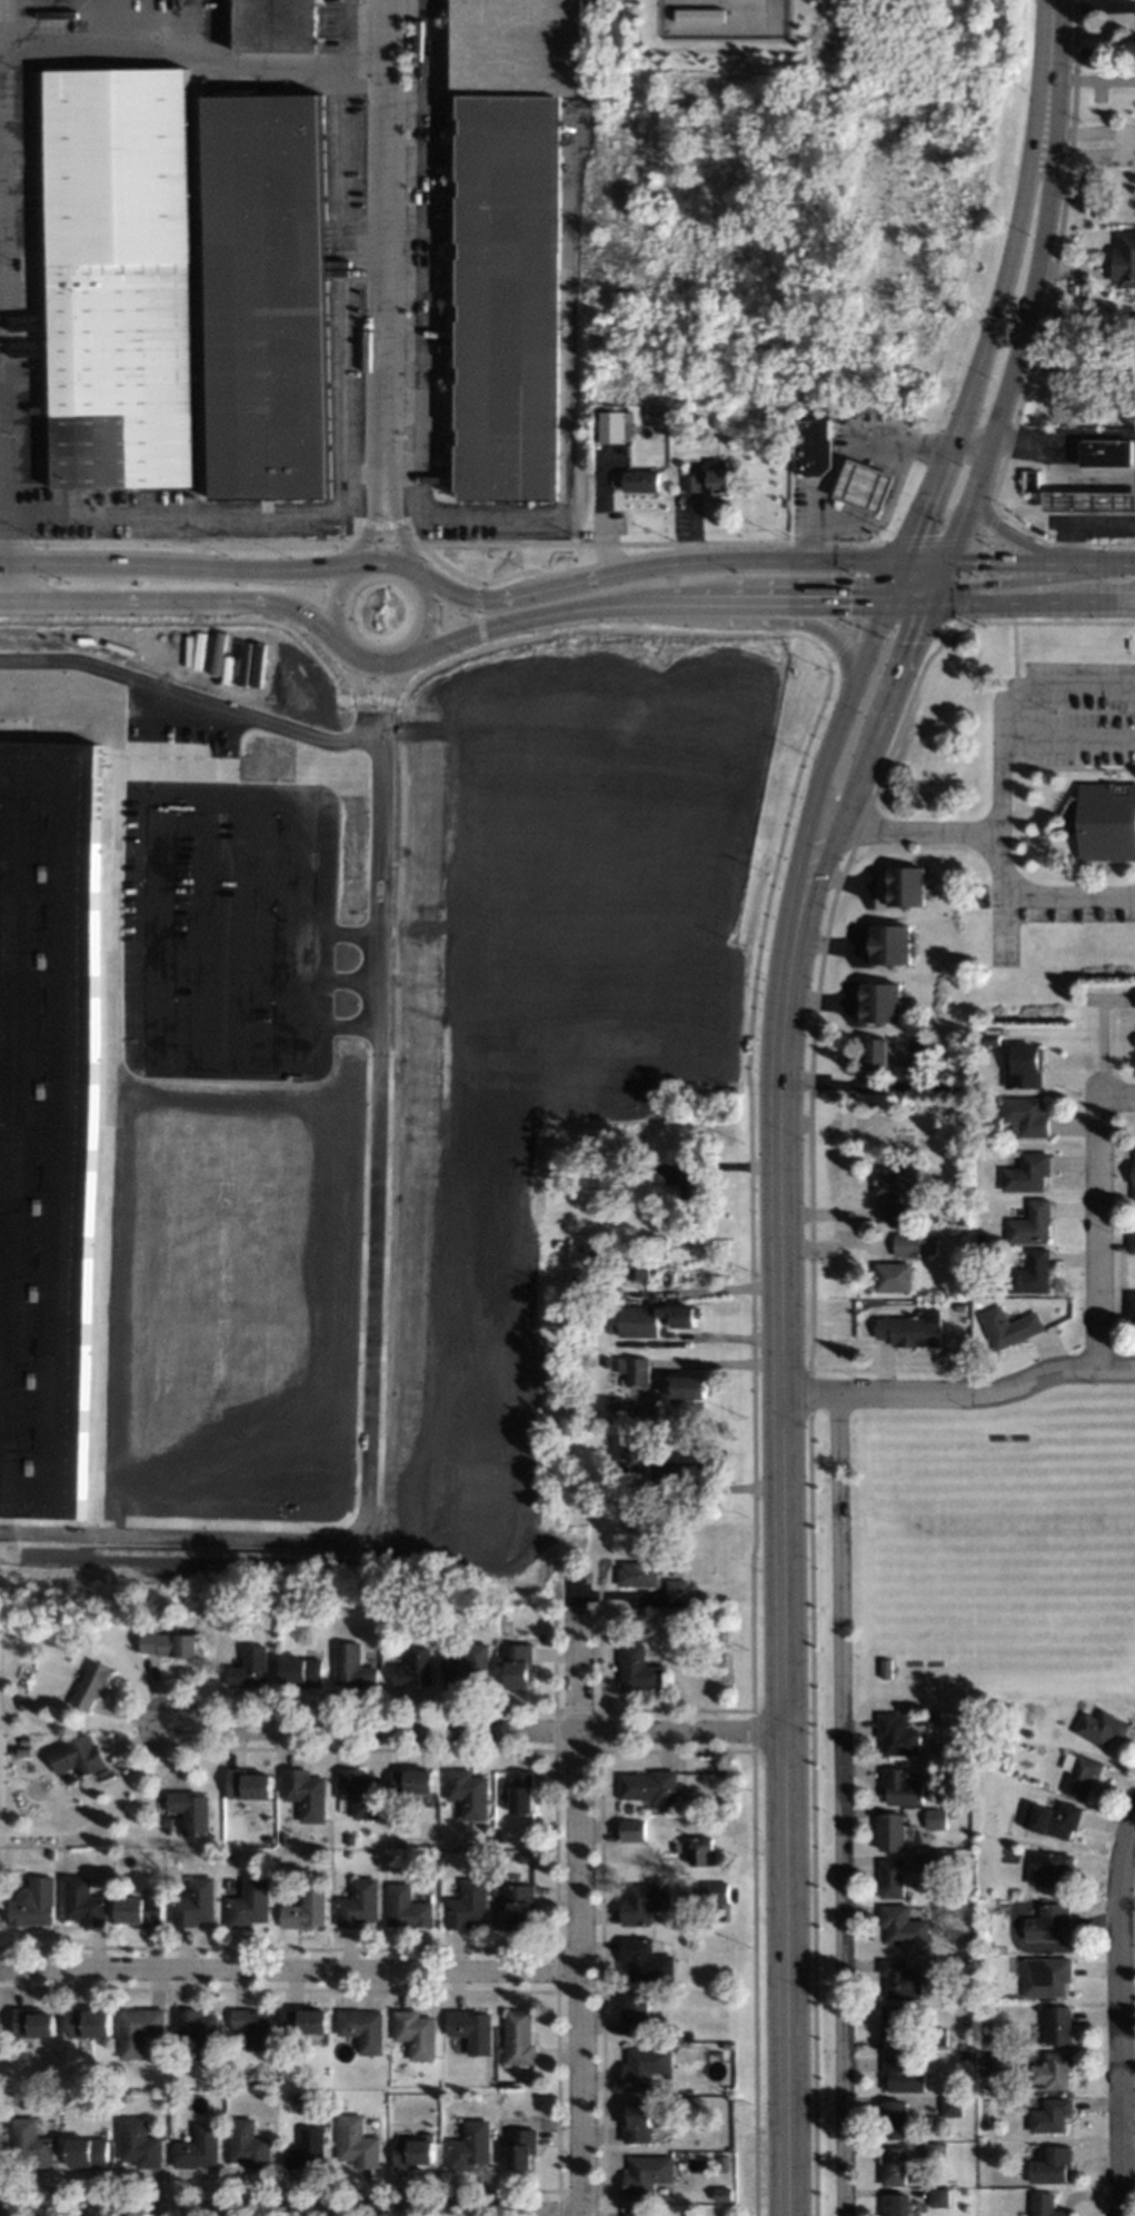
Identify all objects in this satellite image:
road: (1049, 16)
building: (725, 18)
power substation: (725, 18)
building: (276, 24)
road: (183, 52)
road: (398, 105)
road: (398, 156)
road: (399, 218)
road: (377, 237)
building: (509, 238)
road: (1010, 246)
road: (421, 254)
building: (1124, 259)
road: (1036, 270)
building: (120, 278)
road: (399, 280)
building: (268, 296)
road: (400, 341)
road: (1074, 368)
road: (401, 404)
road: (561, 410)
building: (660, 413)
building: (716, 420)
building: (614, 424)
road: (972, 437)
building: (813, 445)
road: (342, 447)
building: (1106, 451)
road: (843, 458)
road: (1057, 469)
road: (361, 475)
building: (713, 478)
building: (643, 480)
building: (863, 486)
building: (1089, 499)
road: (7, 505)
road: (923, 506)
road: (884, 515)
road: (394, 520)
road: (371, 521)
road: (1087, 525)
road: (382, 526)
road: (955, 531)
traffic signals: (912, 535)
road: (1024, 543)
road: (291, 544)
road: (195, 554)
road: (432, 556)
road: (381, 559)
road: (788, 559)
road: (923, 560)
road: (171, 563)
traffic signals: (985, 563)
road: (1016, 563)
road: (1113, 565)
road: (512, 573)
road: (937, 574)
road: (667, 579)
road: (894, 580)
road: (1018, 580)
road: (7, 583)
road: (544, 583)
traffic signals: (977, 584)
road: (907, 589)
road: (928, 594)
road: (693, 597)
road: (806, 598)
traffic signals: (848, 598)
road: (330, 599)
road: (905, 600)
road: (171, 602)
road: (1029, 602)
road: (3, 604)
road: (215, 610)
road: (477, 615)
road: (430, 616)
road: (532, 616)
road: (721, 620)
road: (545, 624)
road: (297, 636)
traffic signals: (908, 640)
road: (839, 646)
road: (462, 656)
road: (365, 658)
road: (898, 666)
road: (1014, 673)
road: (355, 685)
road: (386, 693)
road: (188, 695)
road: (370, 697)
road: (1026, 744)
road: (820, 773)
road: (825, 818)
building: (1106, 819)
road: (978, 835)
road: (833, 843)
building: (908, 884)
road: (1068, 901)
parking lot: (223, 930)
building: (892, 943)
building: (883, 1002)
building: (994, 1030)
building: (992, 1039)
building: (923, 1047)
building: (877, 1054)
building: (1025, 1067)
building: (925, 1089)
road: (1117, 1099)
building: (46, 1116)
building: (1026, 1116)
building: (631, 1166)
building: (604, 1167)
building: (1027, 1172)
building: (1134, 1172)
building: (695, 1183)
building: (895, 1191)
building: (1134, 1192)
building: (1032, 1223)
road: (1098, 1232)
building: (1132, 1243)
building: (905, 1245)
building: (608, 1256)
building: (639, 1265)
building: (1032, 1273)
building: (894, 1276)
road: (751, 1282)
road: (729, 1292)
building: (1132, 1305)
building: (960, 1306)
road: (366, 1308)
building: (681, 1314)
building: (1010, 1326)
building: (913, 1329)
road: (730, 1341)
building: (606, 1361)
road: (723, 1365)
building: (638, 1370)
building: (690, 1385)
road: (965, 1392)
building: (619, 1409)
building: (637, 1432)
building: (637, 1457)
building: (694, 1471)
road: (723, 1491)
park: (1003, 1522)
building: (675, 1547)
park: (993, 1548)
building: (637, 1572)
road: (793, 1584)
building: (676, 1588)
building: (171, 1643)
building: (518, 1665)
building: (354, 1666)
building: (252, 1667)
building: (468, 1667)
building: (638, 1668)
building: (414, 1669)
building: (305, 1670)
building: (94, 1685)
building: (22, 1702)
building: (935, 1717)
building: (1099, 1727)
road: (486, 1731)
building: (898, 1733)
building: (24, 1751)
building: (79, 1756)
building: (1079, 1773)
building: (411, 1780)
building: (248, 1783)
building: (649, 1786)
building: (899, 1787)
building: (359, 1791)
building: (521, 1791)
building: (468, 1792)
building: (305, 1793)
road: (842, 1805)
building: (627, 1807)
building: (191, 1809)
building: (935, 1818)
building: (1053, 1818)
building: (168, 1821)
building: (631, 1829)
building: (892, 1830)
building: (348, 1837)
building: (283, 1838)
building: (400, 1845)
building: (675, 1847)
building: (703, 1851)
building: (51, 1854)
building: (229, 1855)
building: (929, 1861)
building: (1048, 1867)
building: (892, 1877)
building: (715, 1891)
building: (1014, 1891)
road: (578, 1896)
building: (688, 1898)
building: (84, 1901)
building: (197, 1901)
building: (644, 1901)
building: (34, 1904)
building: (249, 1904)
building: (359, 1904)
building: (467, 1905)
building: (518, 1905)
building: (407, 1907)
building: (306, 1909)
building: (140, 1910)
building: (1047, 1922)
building: (903, 1924)
building: (969, 1938)
road: (289, 1947)
building: (645, 1959)
road: (289, 1967)
building: (1044, 1976)
building: (902, 1979)
building: (1037, 2006)
building: (635, 2014)
road: (1117, 2015)
building: (307, 2020)
building: (33, 2021)
building: (89, 2021)
building: (892, 2021)
building: (1058, 2025)
building: (253, 2026)
building: (362, 2028)
building: (139, 2029)
building: (470, 2029)
building: (198, 2031)
building: (415, 2033)
building: (674, 2034)
building: (937, 2037)
building: (987, 2037)
building: (517, 2038)
building: (998, 2058)
building: (644, 2065)
building: (1052, 2070)
building: (902, 2074)
building: (678, 2088)
building: (72, 2095)
building: (125, 2096)
building: (297, 2097)
building: (510, 2097)
building: (680, 2100)
building: (950, 2105)
building: (1048, 2114)
building: (894, 2119)
building: (638, 2124)
building: (357, 2142)
building: (31, 2143)
building: (140, 2143)
building: (248, 2144)
building: (469, 2146)
building: (199, 2147)
building: (520, 2147)
building: (308, 2148)
building: (929, 2150)
building: (89, 2152)
building: (412, 2152)
building: (721, 2163)
building: (893, 2165)
building: (1049, 2165)
building: (645, 2174)
building: (721, 2194)
building: (939, 2196)
building: (896, 2204)
building: (1045, 2205)
road: (290, 2208)
building: (635, 2212)

